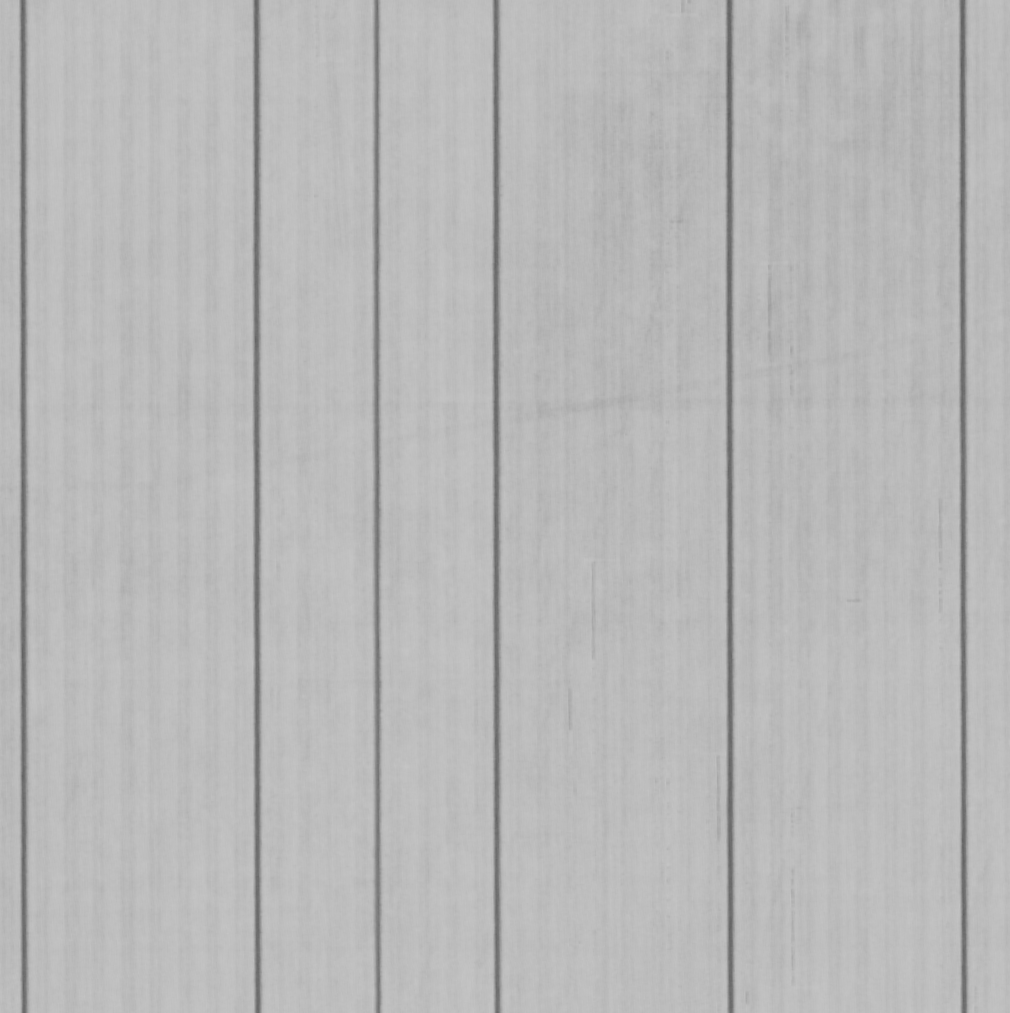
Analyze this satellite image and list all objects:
crop: (505, 506)

